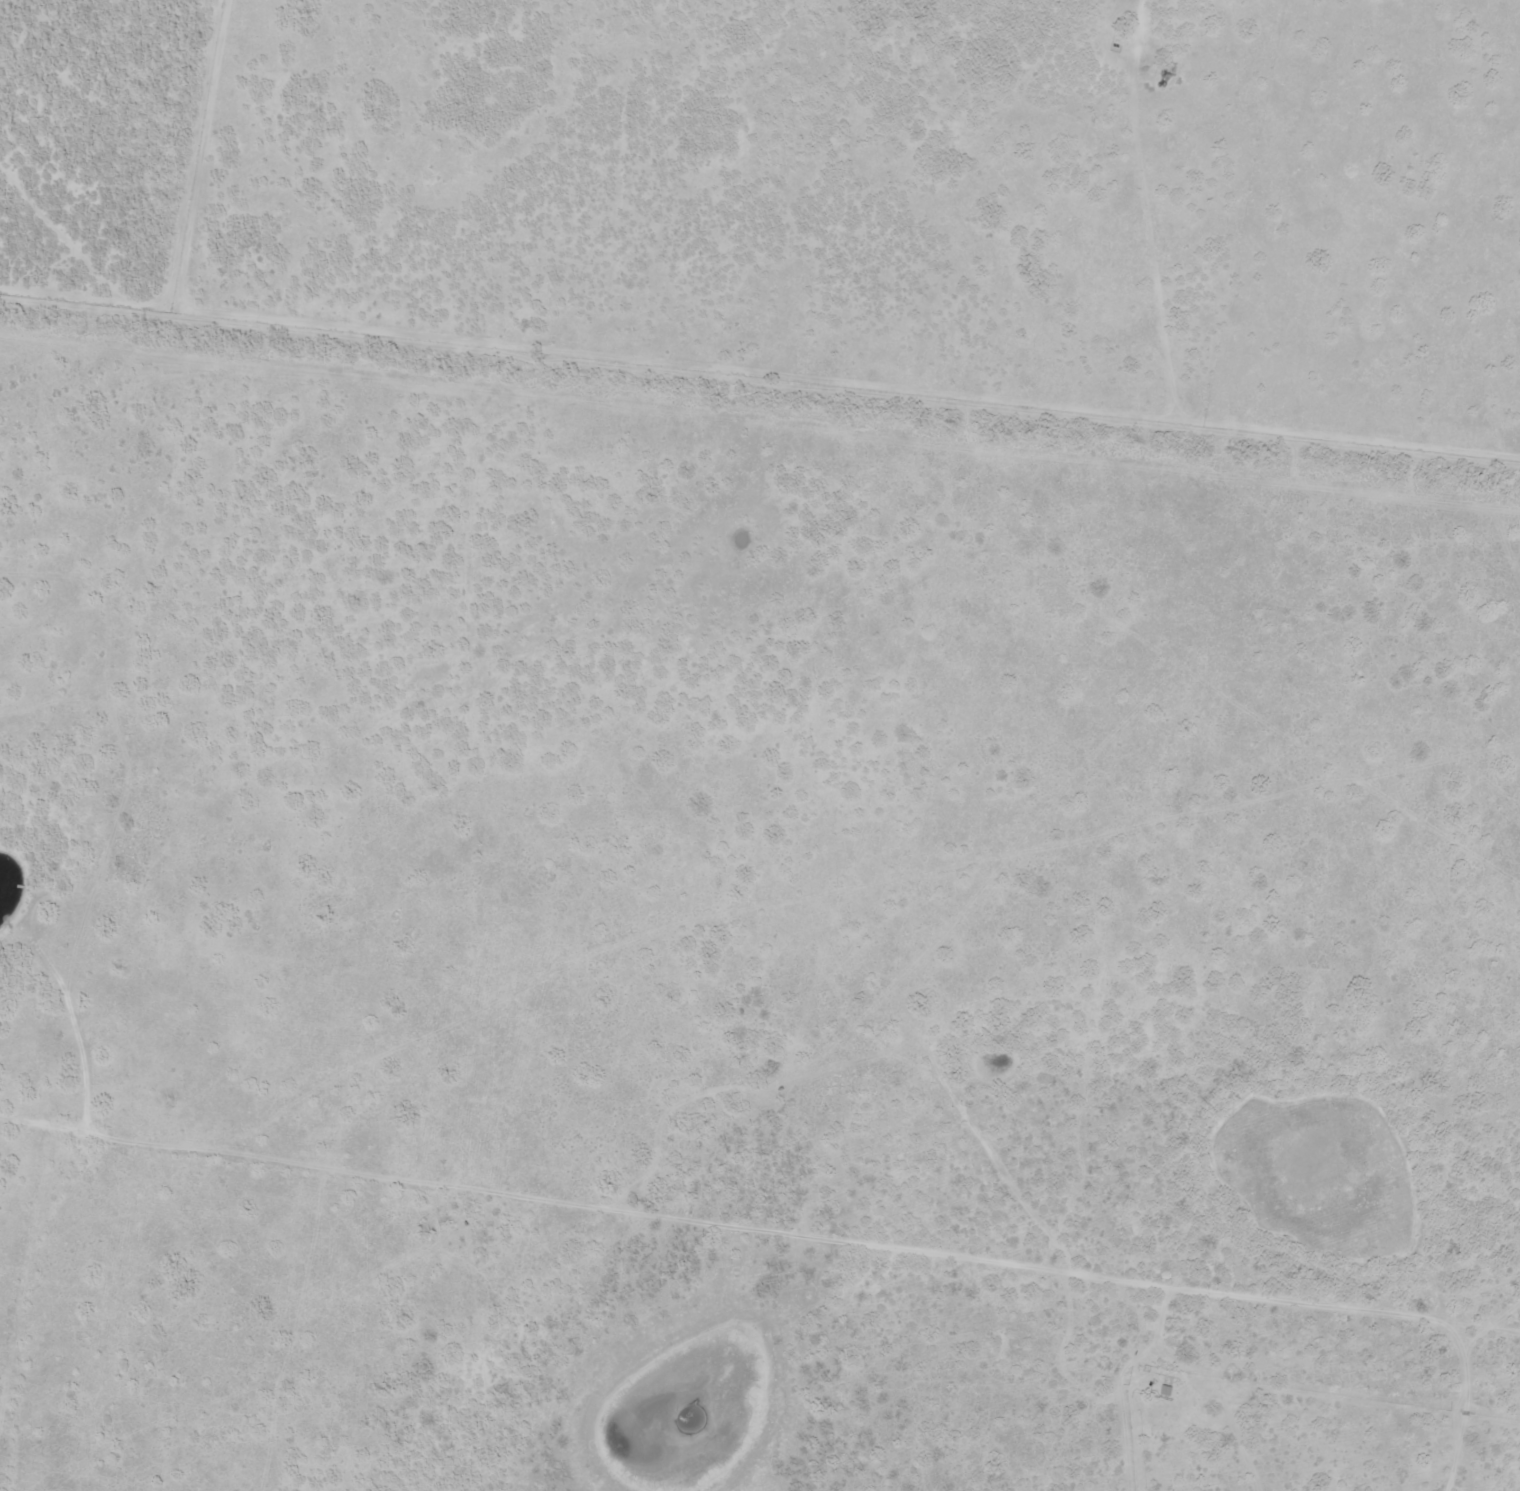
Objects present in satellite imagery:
building: (1166, 1390)

